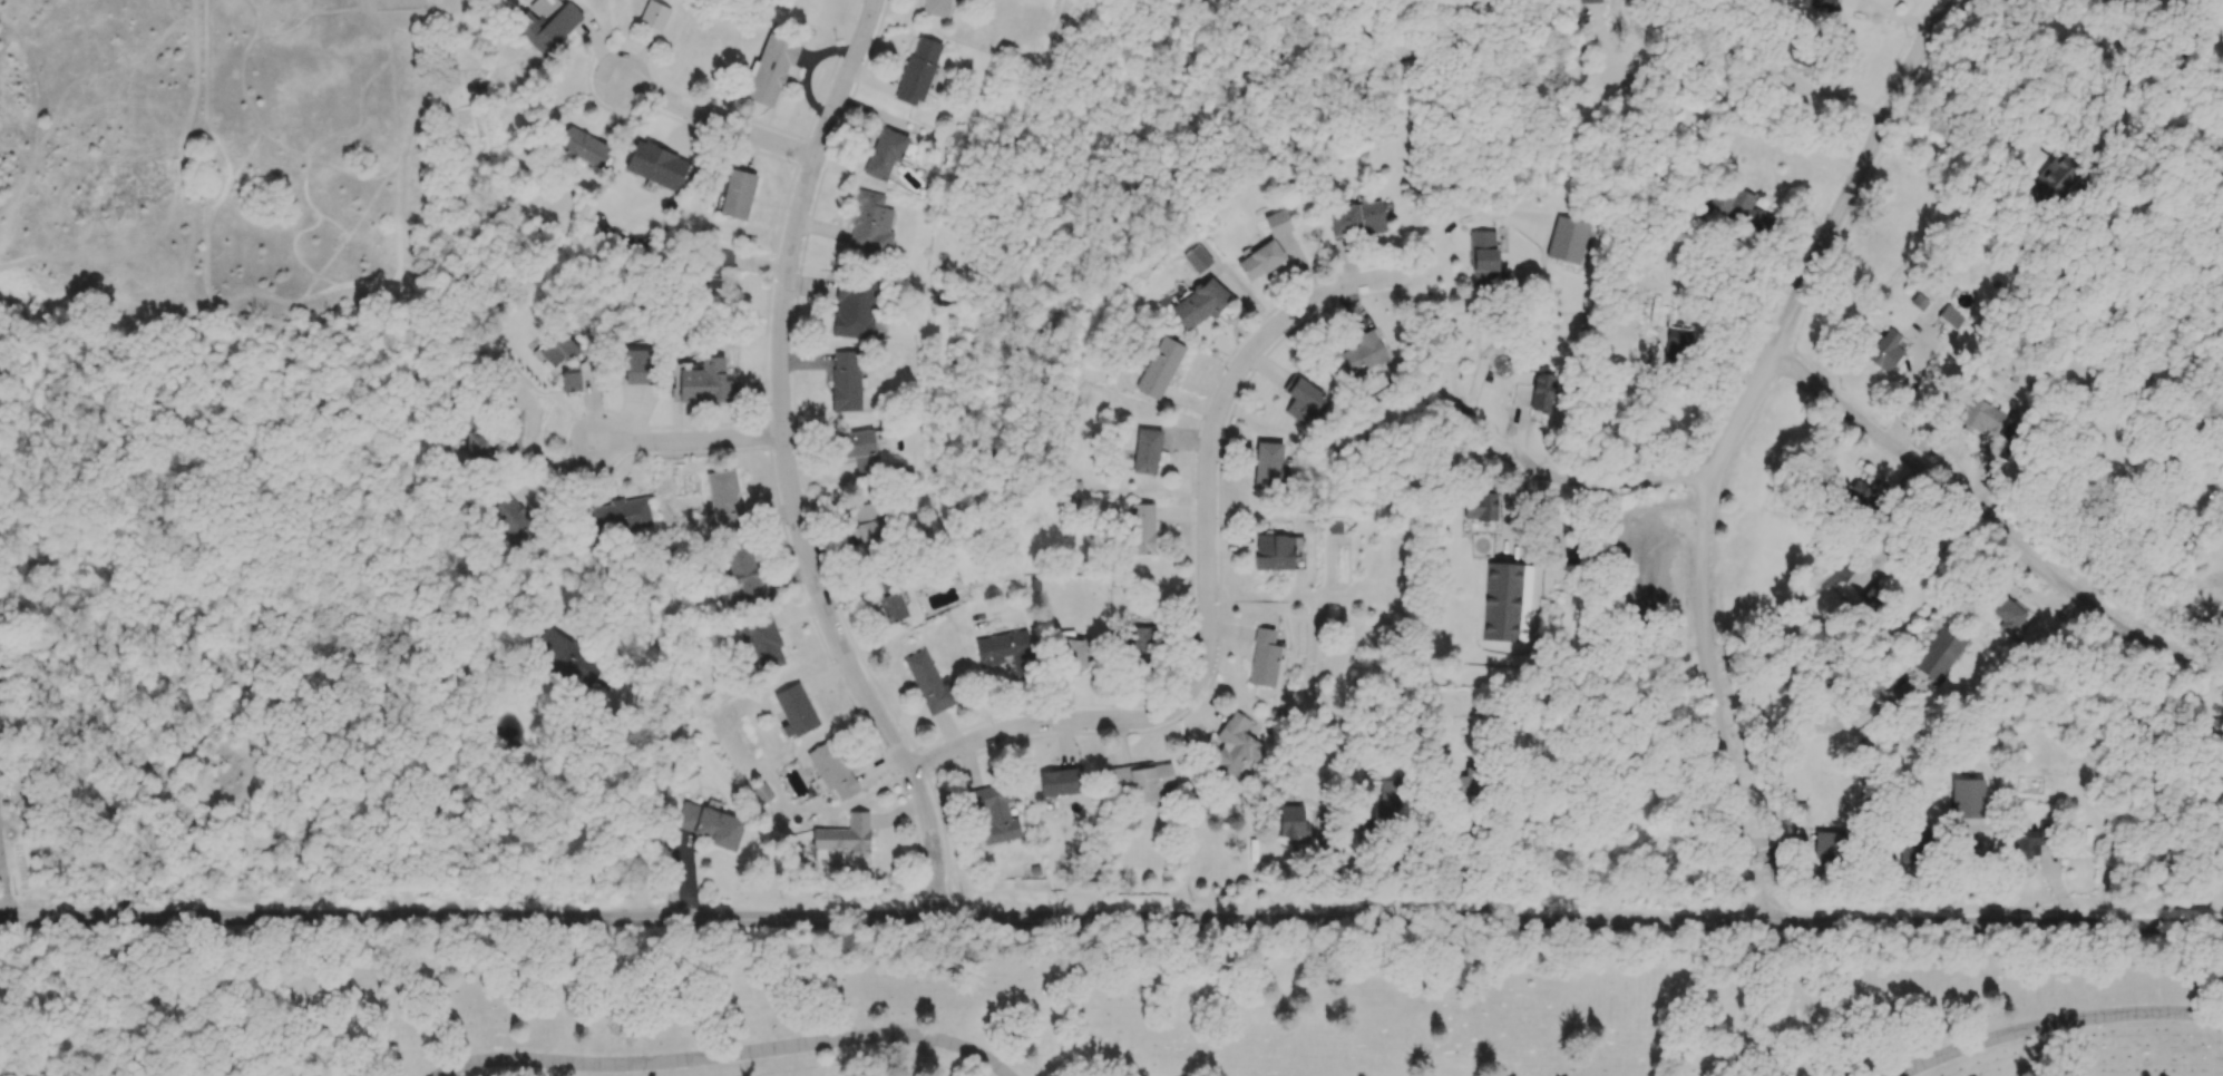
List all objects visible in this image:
building: (1590, 1)
building: (1820, 4)
building: (937, 8)
road: (2206, 14)
building: (655, 16)
building: (546, 23)
building: (771, 68)
building: (918, 71)
park: (1269, 71)
road: (1834, 96)
road: (2117, 118)
road: (715, 120)
road: (1726, 124)
building: (583, 147)
building: (884, 154)
building: (656, 165)
building: (2058, 174)
building: (738, 195)
building: (1738, 206)
building: (1356, 219)
building: (871, 223)
building: (1567, 239)
building: (1265, 248)
building: (1197, 258)
building: (1485, 262)
building: (713, 267)
building: (1200, 303)
building: (855, 310)
building: (1660, 315)
building: (1951, 317)
building: (1677, 341)
building: (558, 349)
building: (1885, 351)
building: (1364, 355)
building: (1159, 368)
building: (571, 381)
building: (846, 381)
building: (703, 383)
road: (1909, 385)
building: (1537, 392)
building: (1303, 400)
road: (1220, 407)
building: (1980, 414)
road: (1730, 437)
road: (689, 440)
building: (511, 442)
building: (478, 443)
building: (858, 450)
building: (1145, 451)
building: (1267, 463)
road: (788, 468)
road: (1603, 477)
building: (1861, 497)
building: (724, 501)
road: (1632, 505)
building: (1481, 507)
building: (620, 516)
building: (514, 520)
road: (1988, 524)
building: (868, 525)
building: (1336, 526)
building: (1141, 529)
road: (1229, 541)
building: (1274, 551)
building: (744, 570)
building: (1873, 597)
building: (1502, 601)
building: (893, 607)
building: (2008, 615)
road: (1772, 618)
building: (762, 642)
building: (1138, 644)
building: (1006, 651)
building: (1939, 651)
building: (568, 658)
building: (1264, 658)
building: (929, 683)
building: (794, 712)
road: (1073, 720)
building: (1235, 745)
building: (831, 770)
building: (1059, 782)
building: (1141, 782)
building: (762, 793)
building: (1388, 800)
building: (1964, 800)
road: (628, 808)
building: (995, 812)
building: (1291, 821)
building: (710, 824)
building: (845, 834)
building: (2024, 842)
building: (1827, 844)
building: (1908, 851)
road: (1479, 864)
road: (2, 890)
road: (1111, 919)
park: (1094, 1002)
road: (2055, 1024)
road: (727, 1055)

